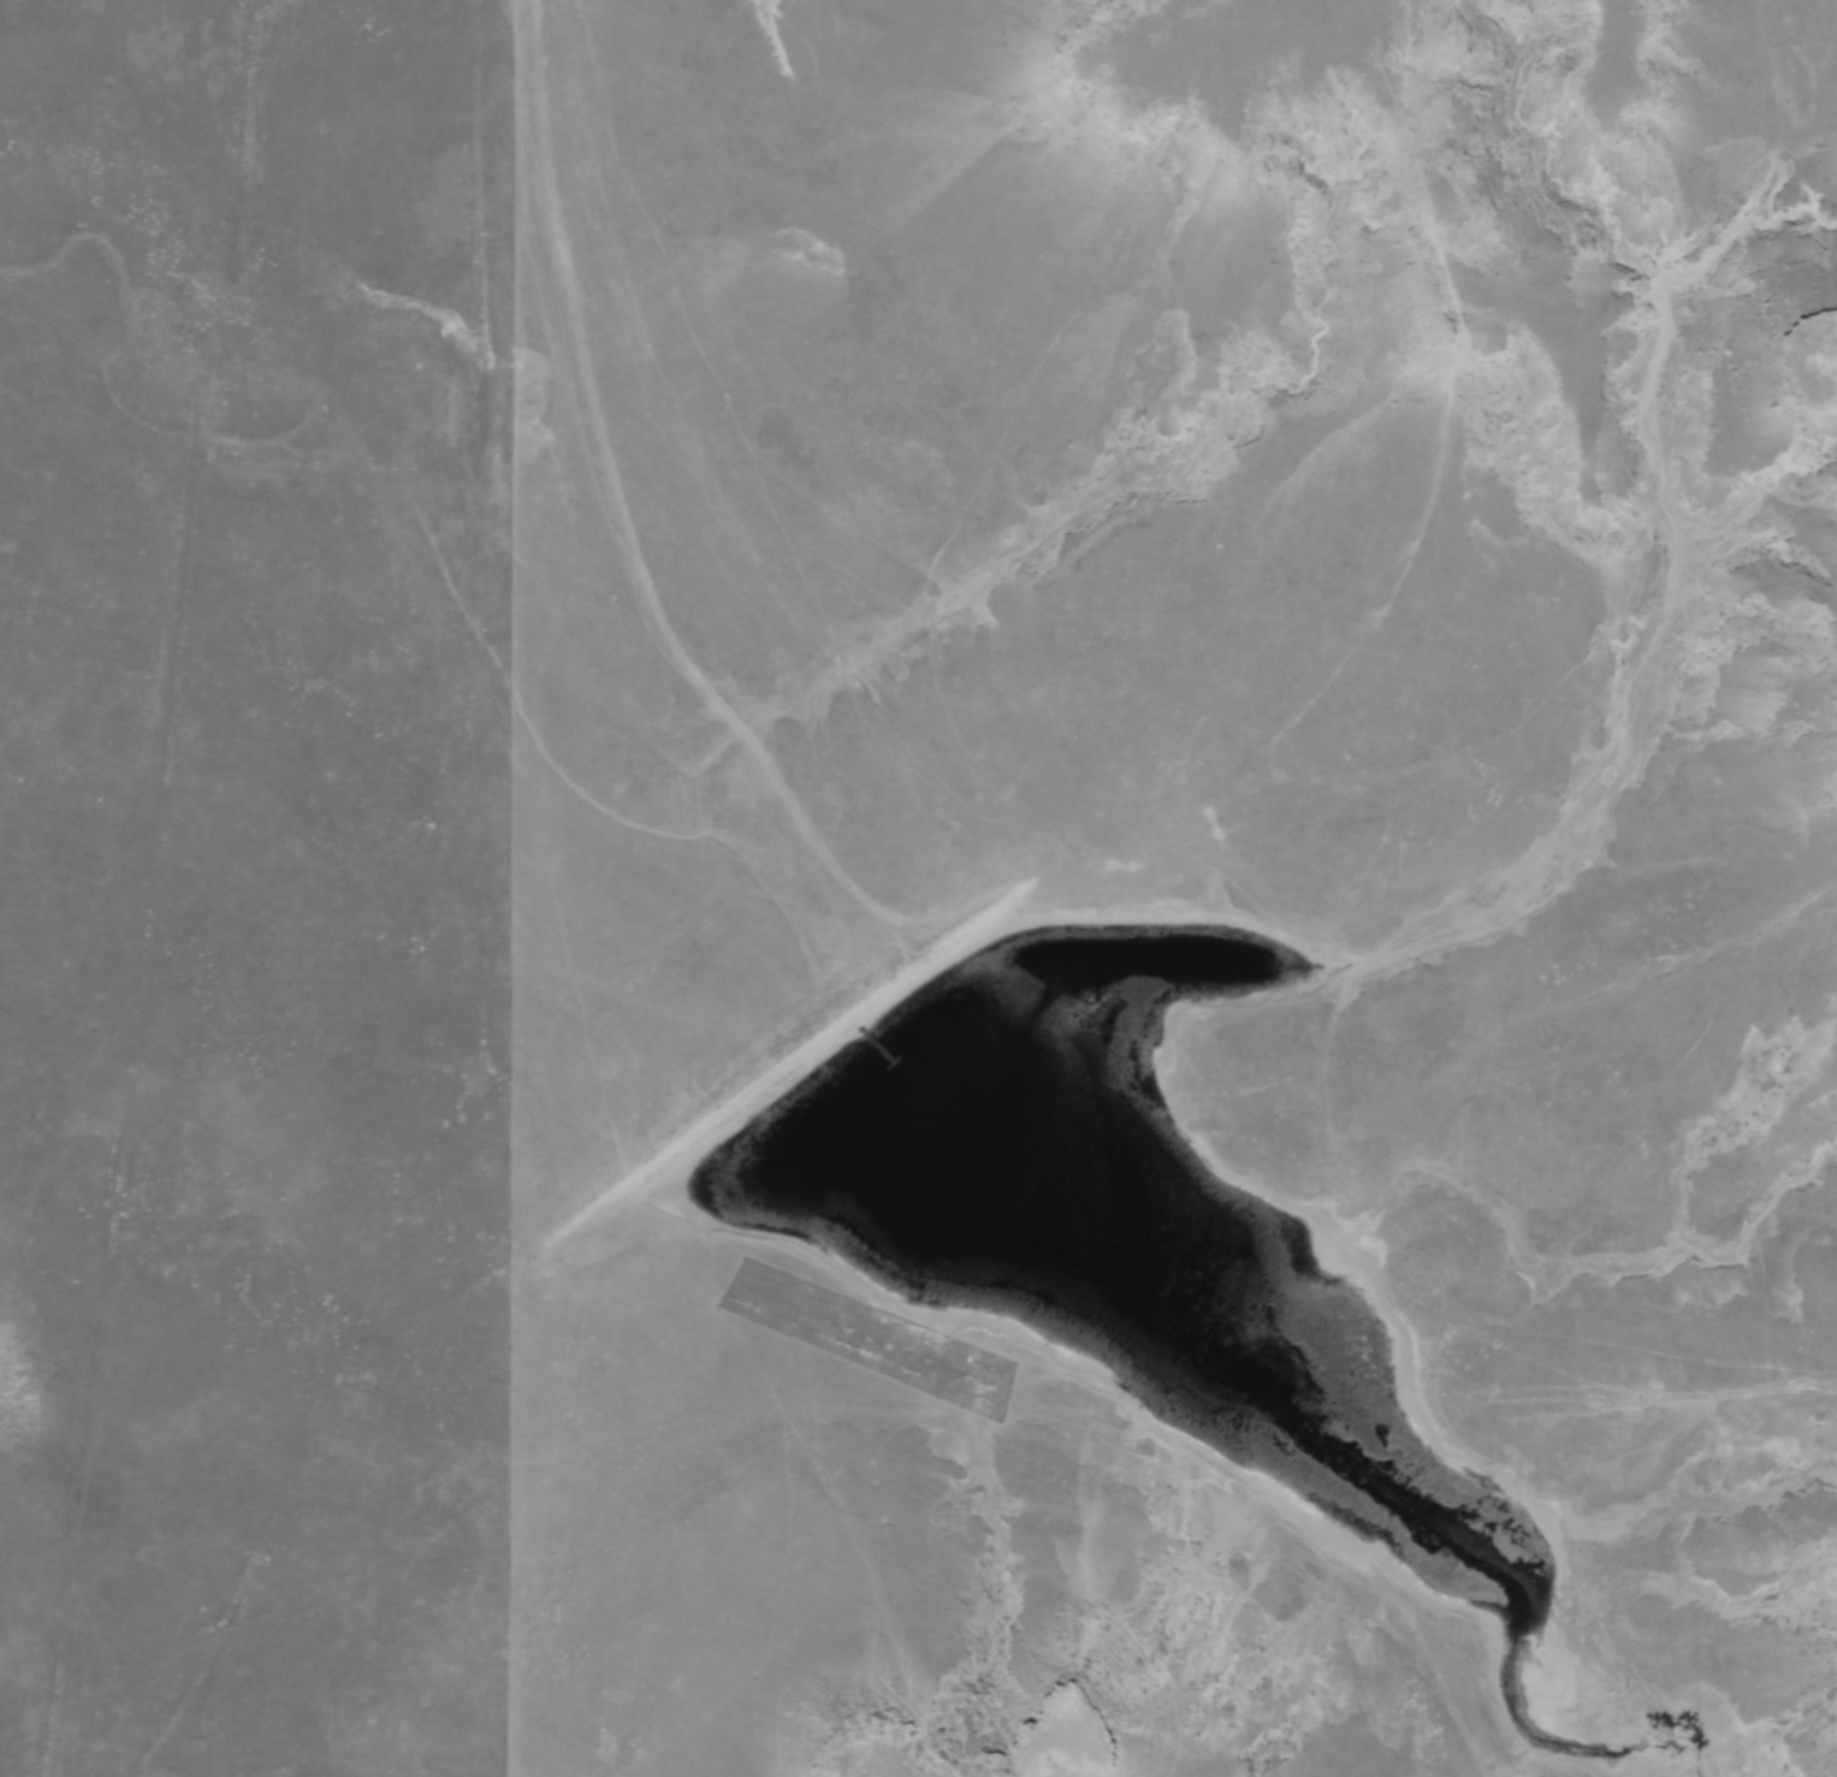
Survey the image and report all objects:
dam: (804, 1043)

